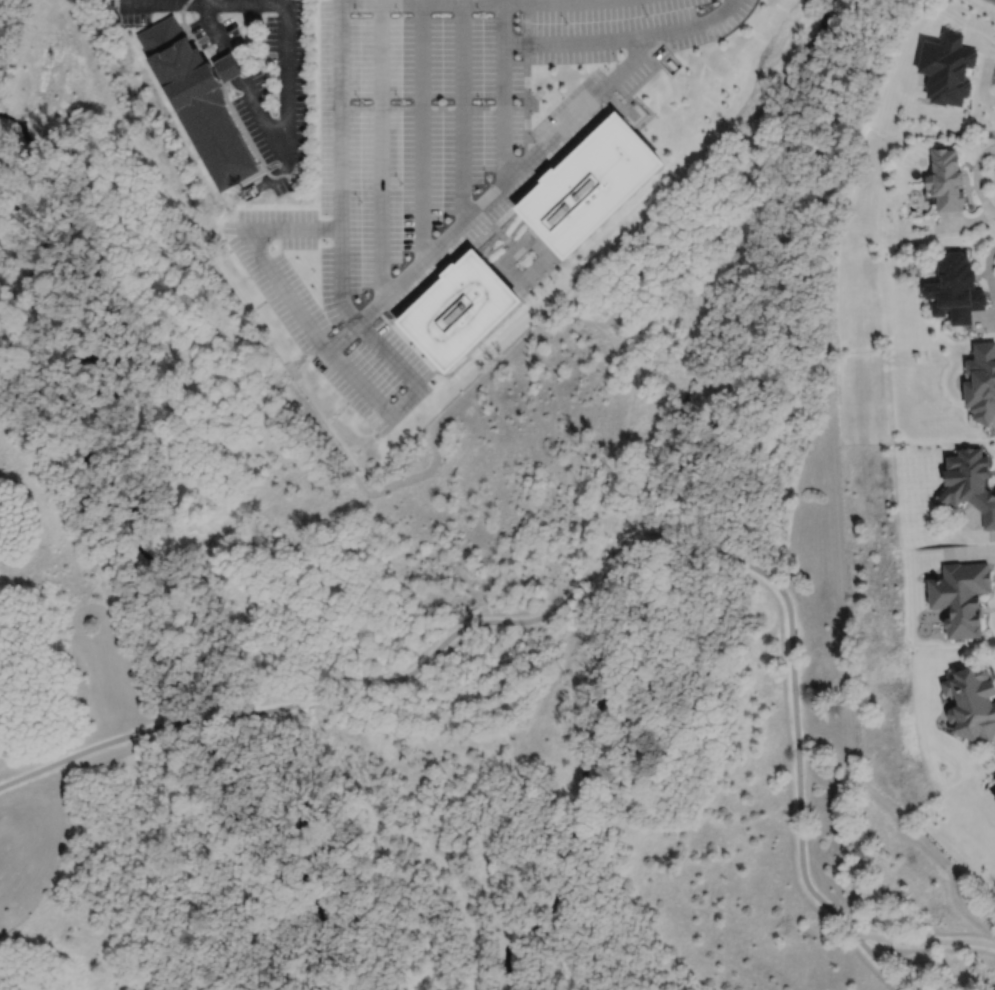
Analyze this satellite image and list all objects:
road: (466, 2)
road: (985, 5)
road: (286, 14)
road: (623, 38)
building: (225, 67)
building: (945, 69)
parking lot: (254, 73)
road: (239, 81)
road: (502, 91)
building: (199, 103)
road: (462, 111)
road: (340, 113)
road: (421, 127)
road: (379, 146)
parking lot: (436, 157)
road: (994, 160)
building: (944, 181)
building: (589, 185)
road: (494, 191)
building: (954, 291)
building: (458, 312)
road: (352, 378)
building: (980, 382)
building: (968, 482)
road: (697, 546)
building: (959, 596)
road: (465, 629)
building: (971, 702)
road: (218, 718)
road: (797, 734)
road: (93, 749)
building: (994, 778)
building: (994, 798)
road: (925, 942)
road: (879, 963)

